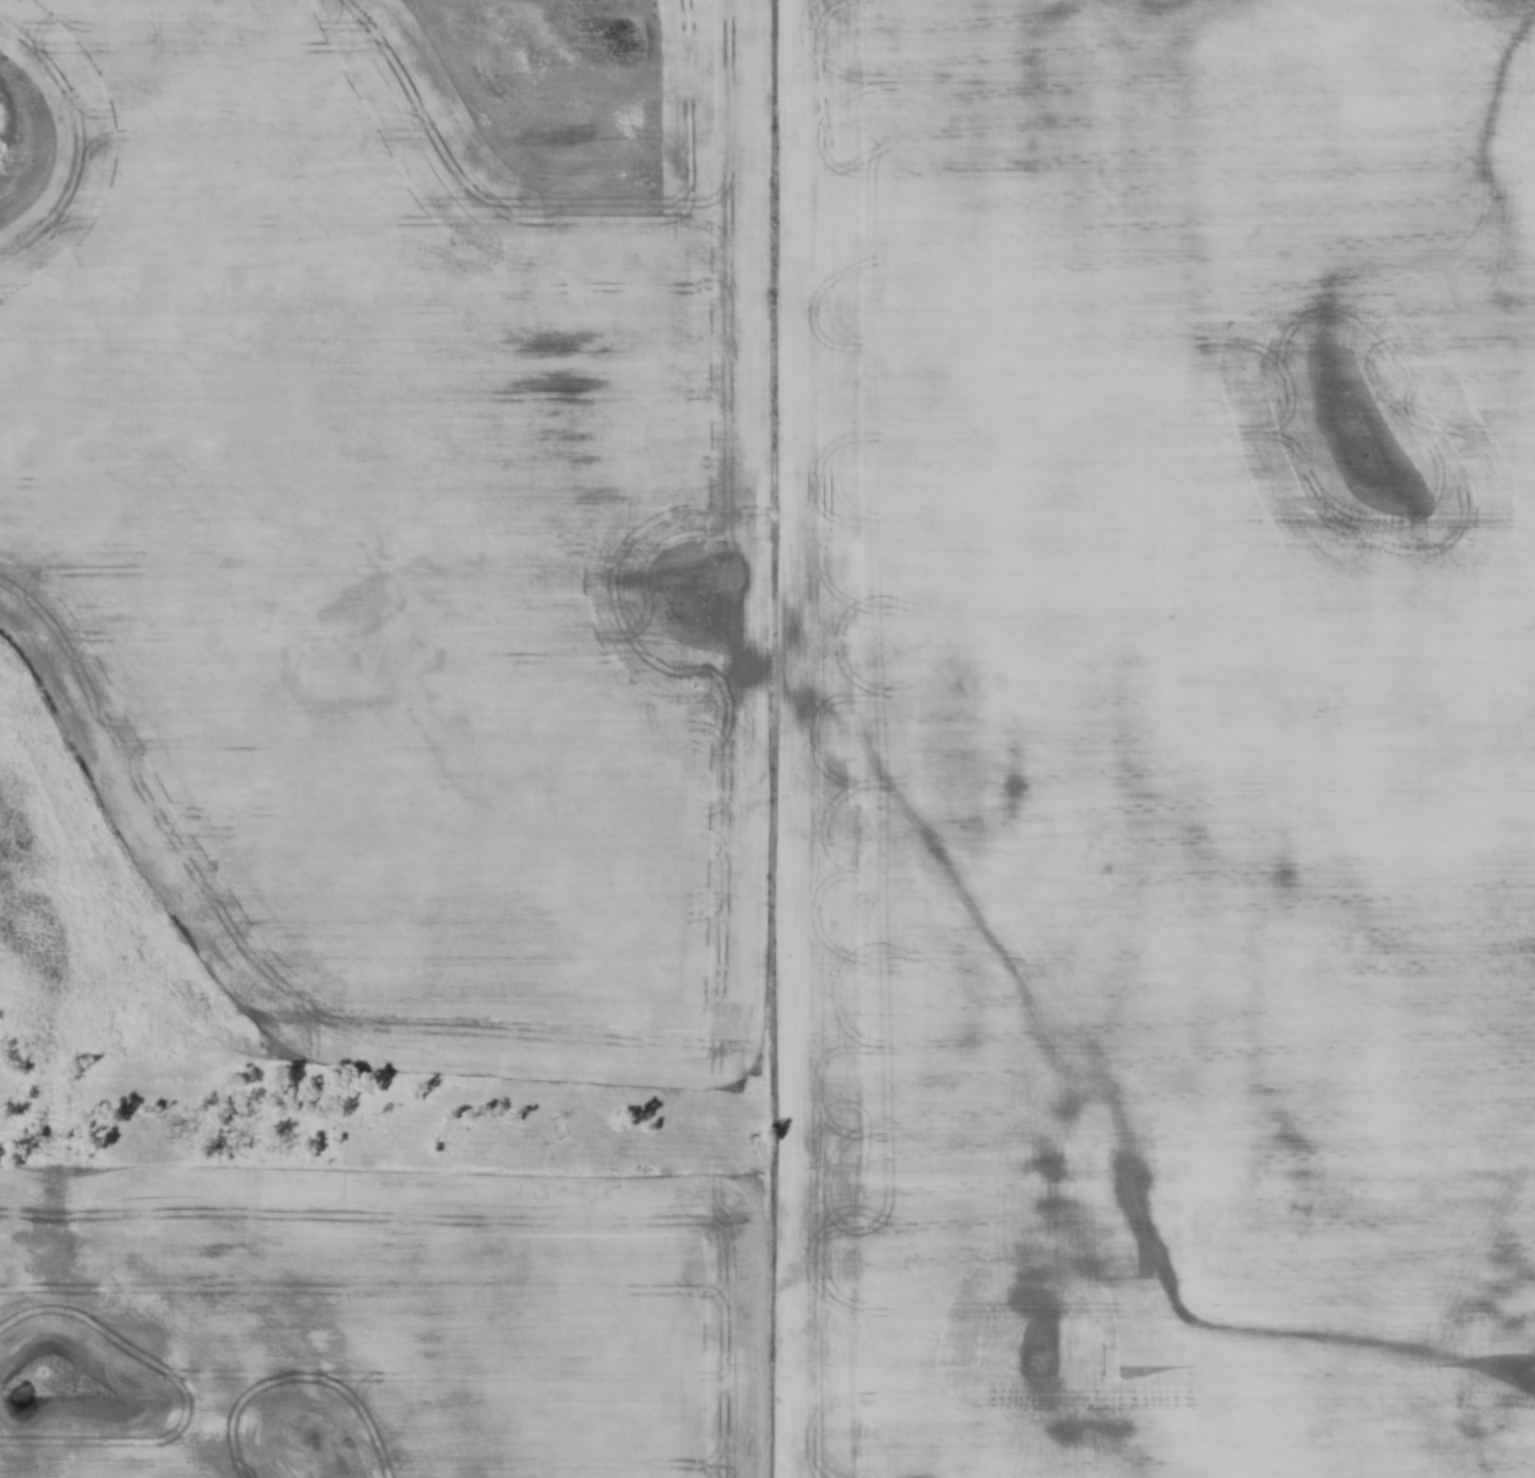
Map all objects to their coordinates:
building: (1033, 1219)

